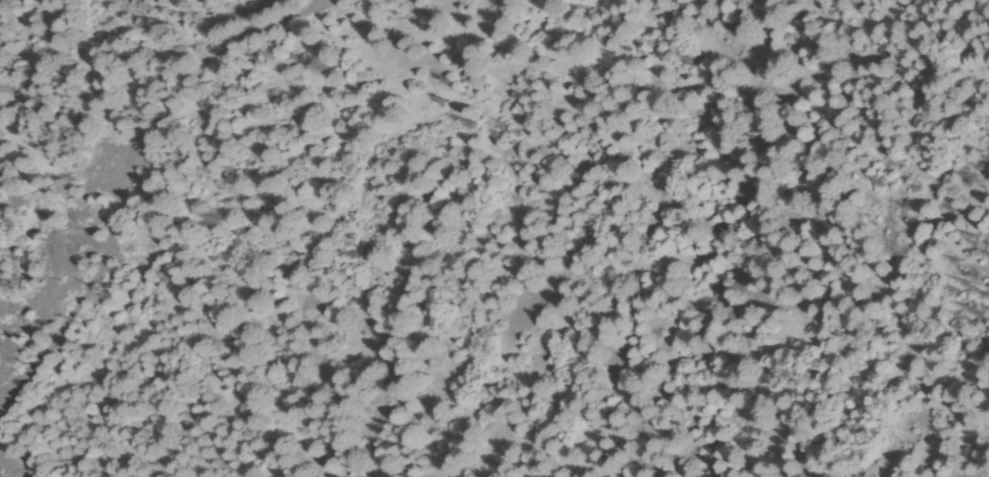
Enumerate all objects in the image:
road: (137, 187)

